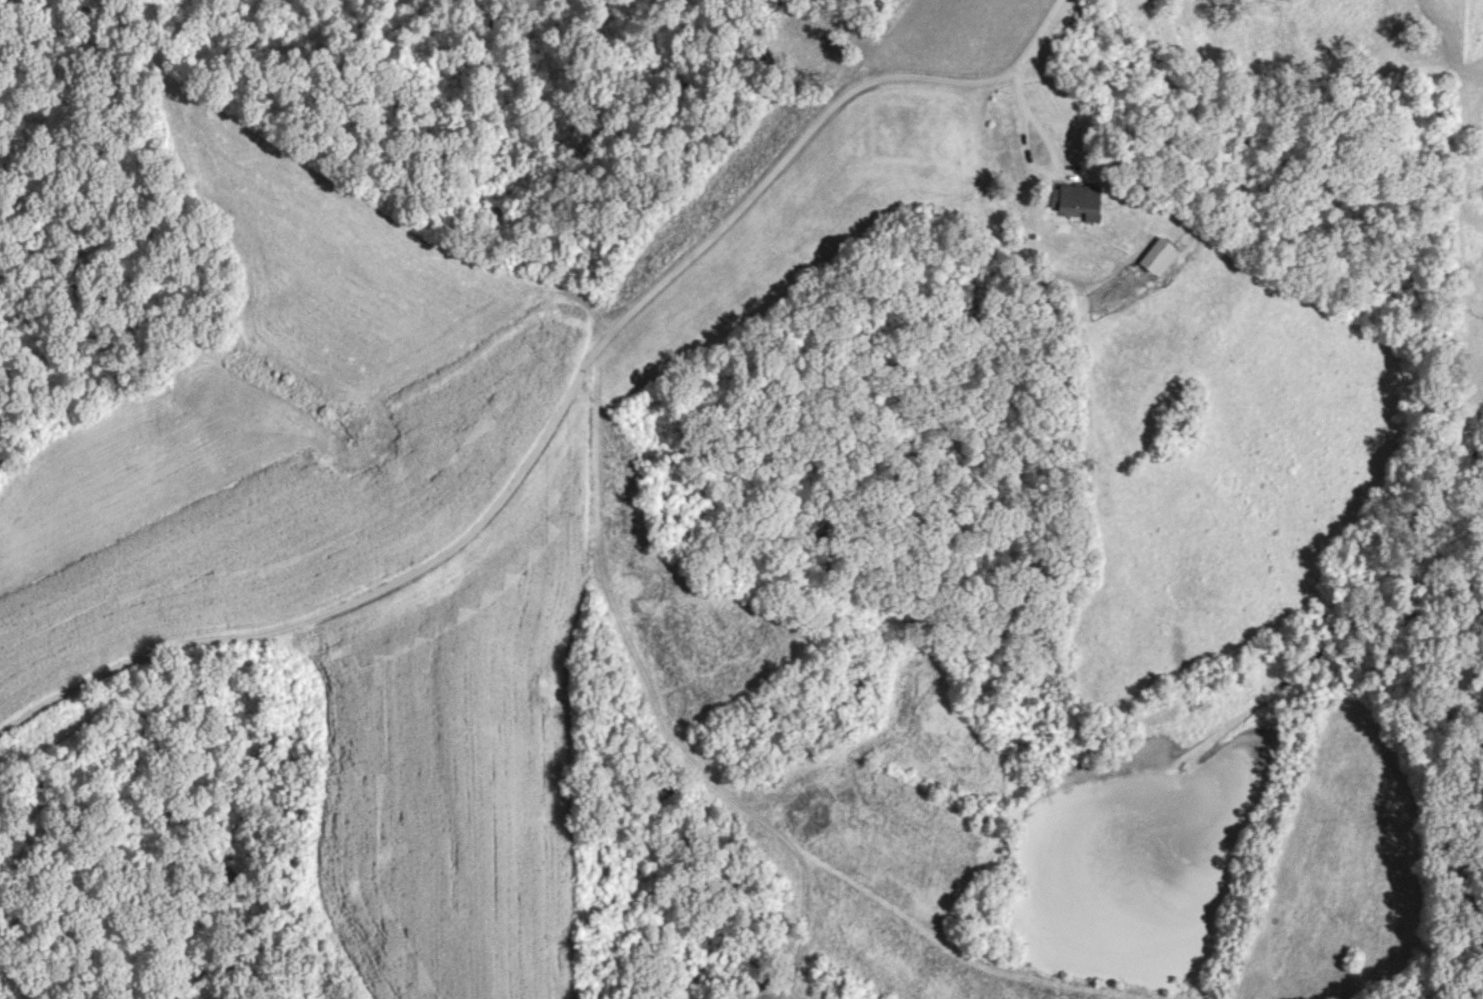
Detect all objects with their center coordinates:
road: (1031, 162)
building: (1408, 186)
building: (1075, 200)
building: (1154, 258)
road: (559, 400)

